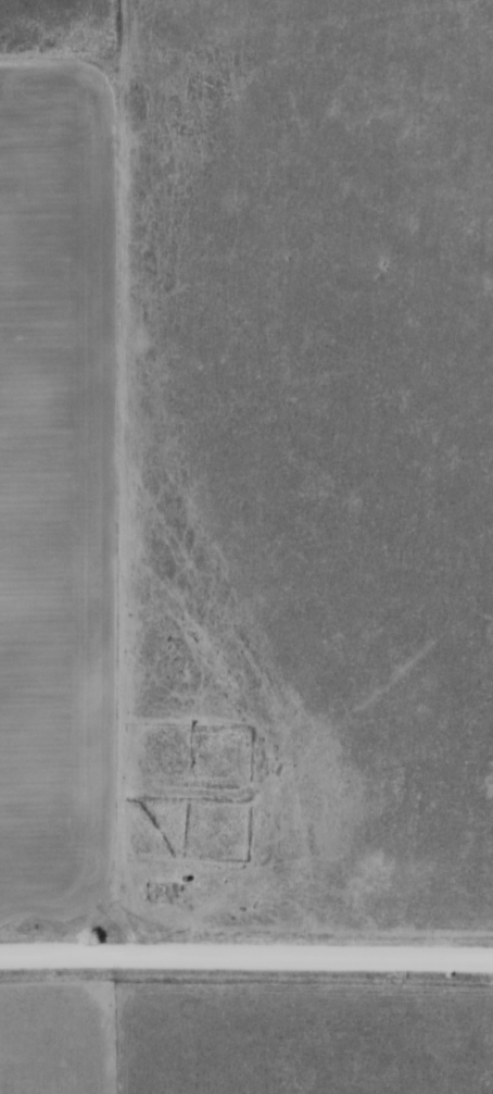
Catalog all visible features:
road: (245, 959)

